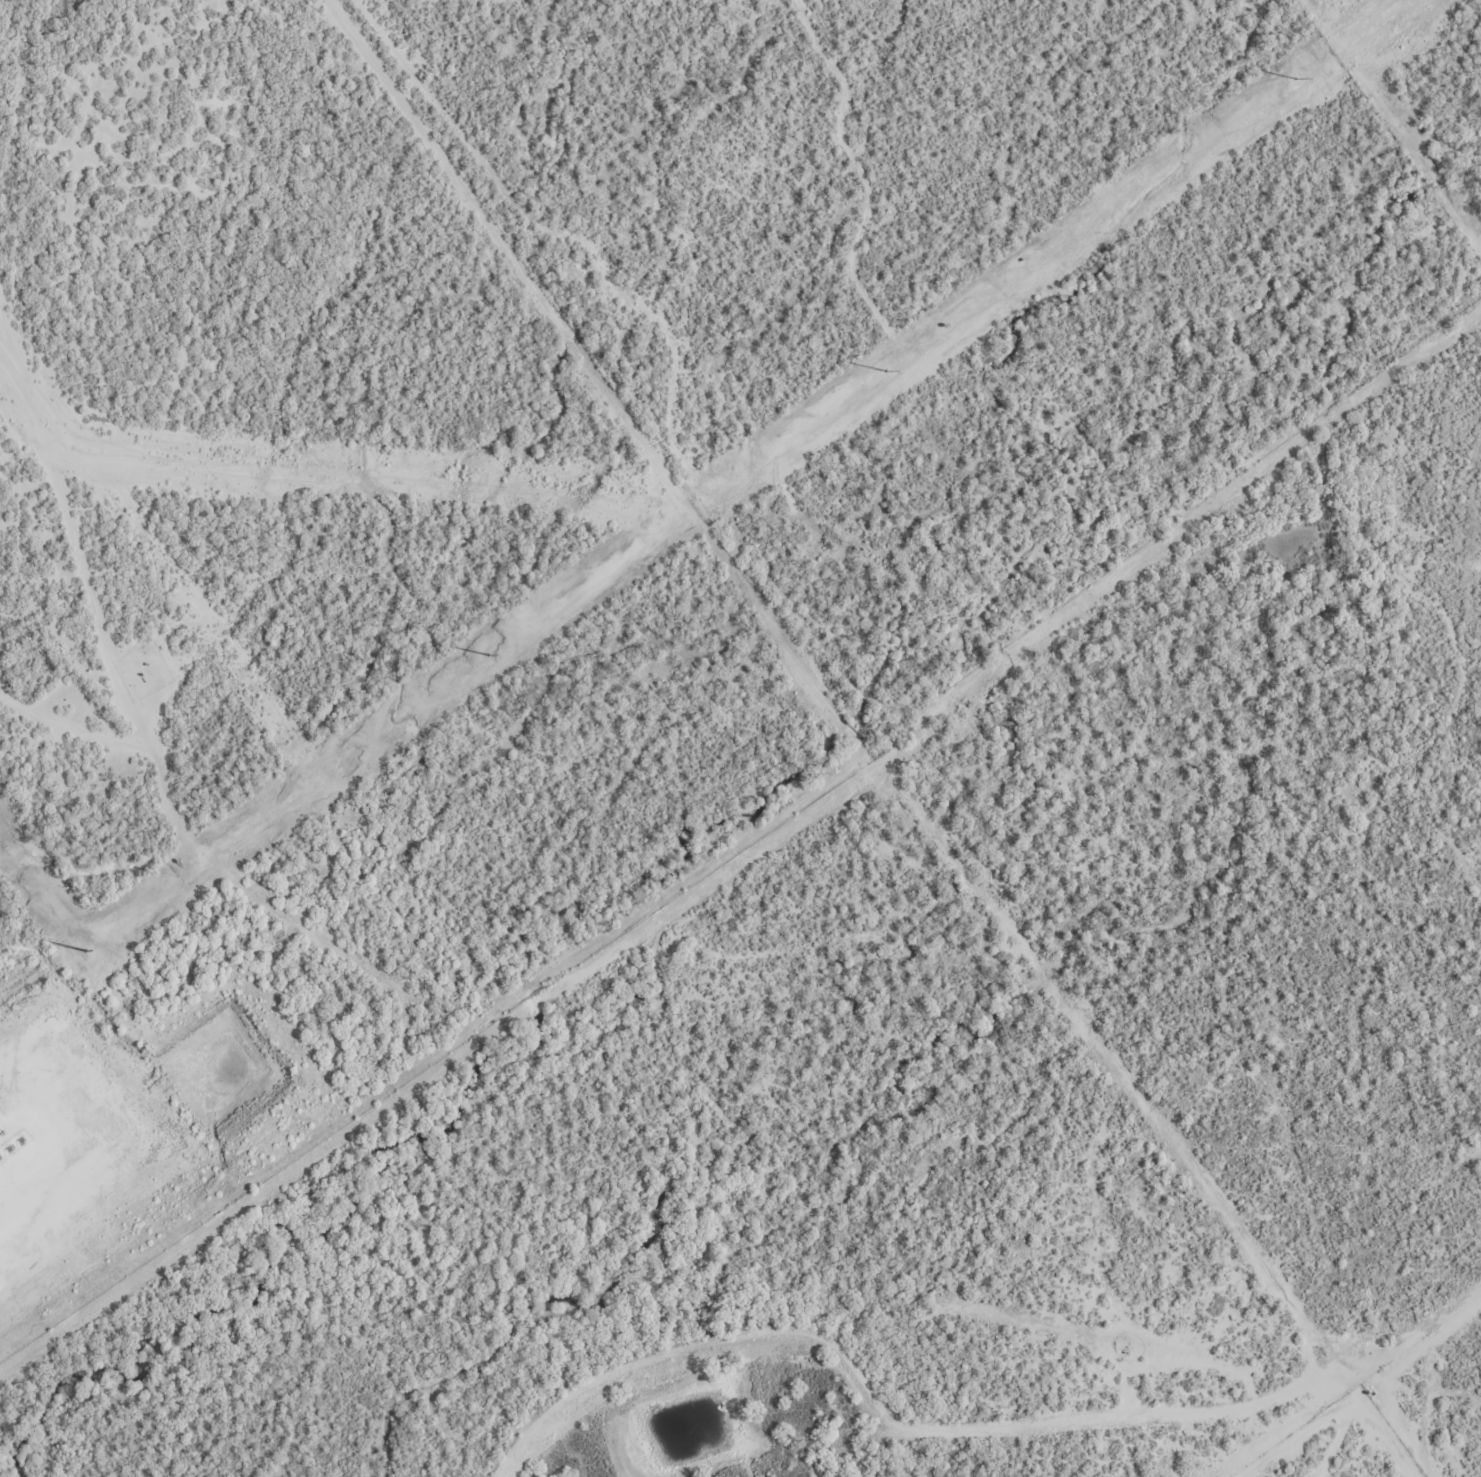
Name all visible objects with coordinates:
road: (14, 16)
power tower: (1296, 79)
power tower: (887, 372)
road: (221, 398)
power tower: (489, 655)
power tower: (86, 951)
road: (1396, 1304)
road: (1278, 1414)

